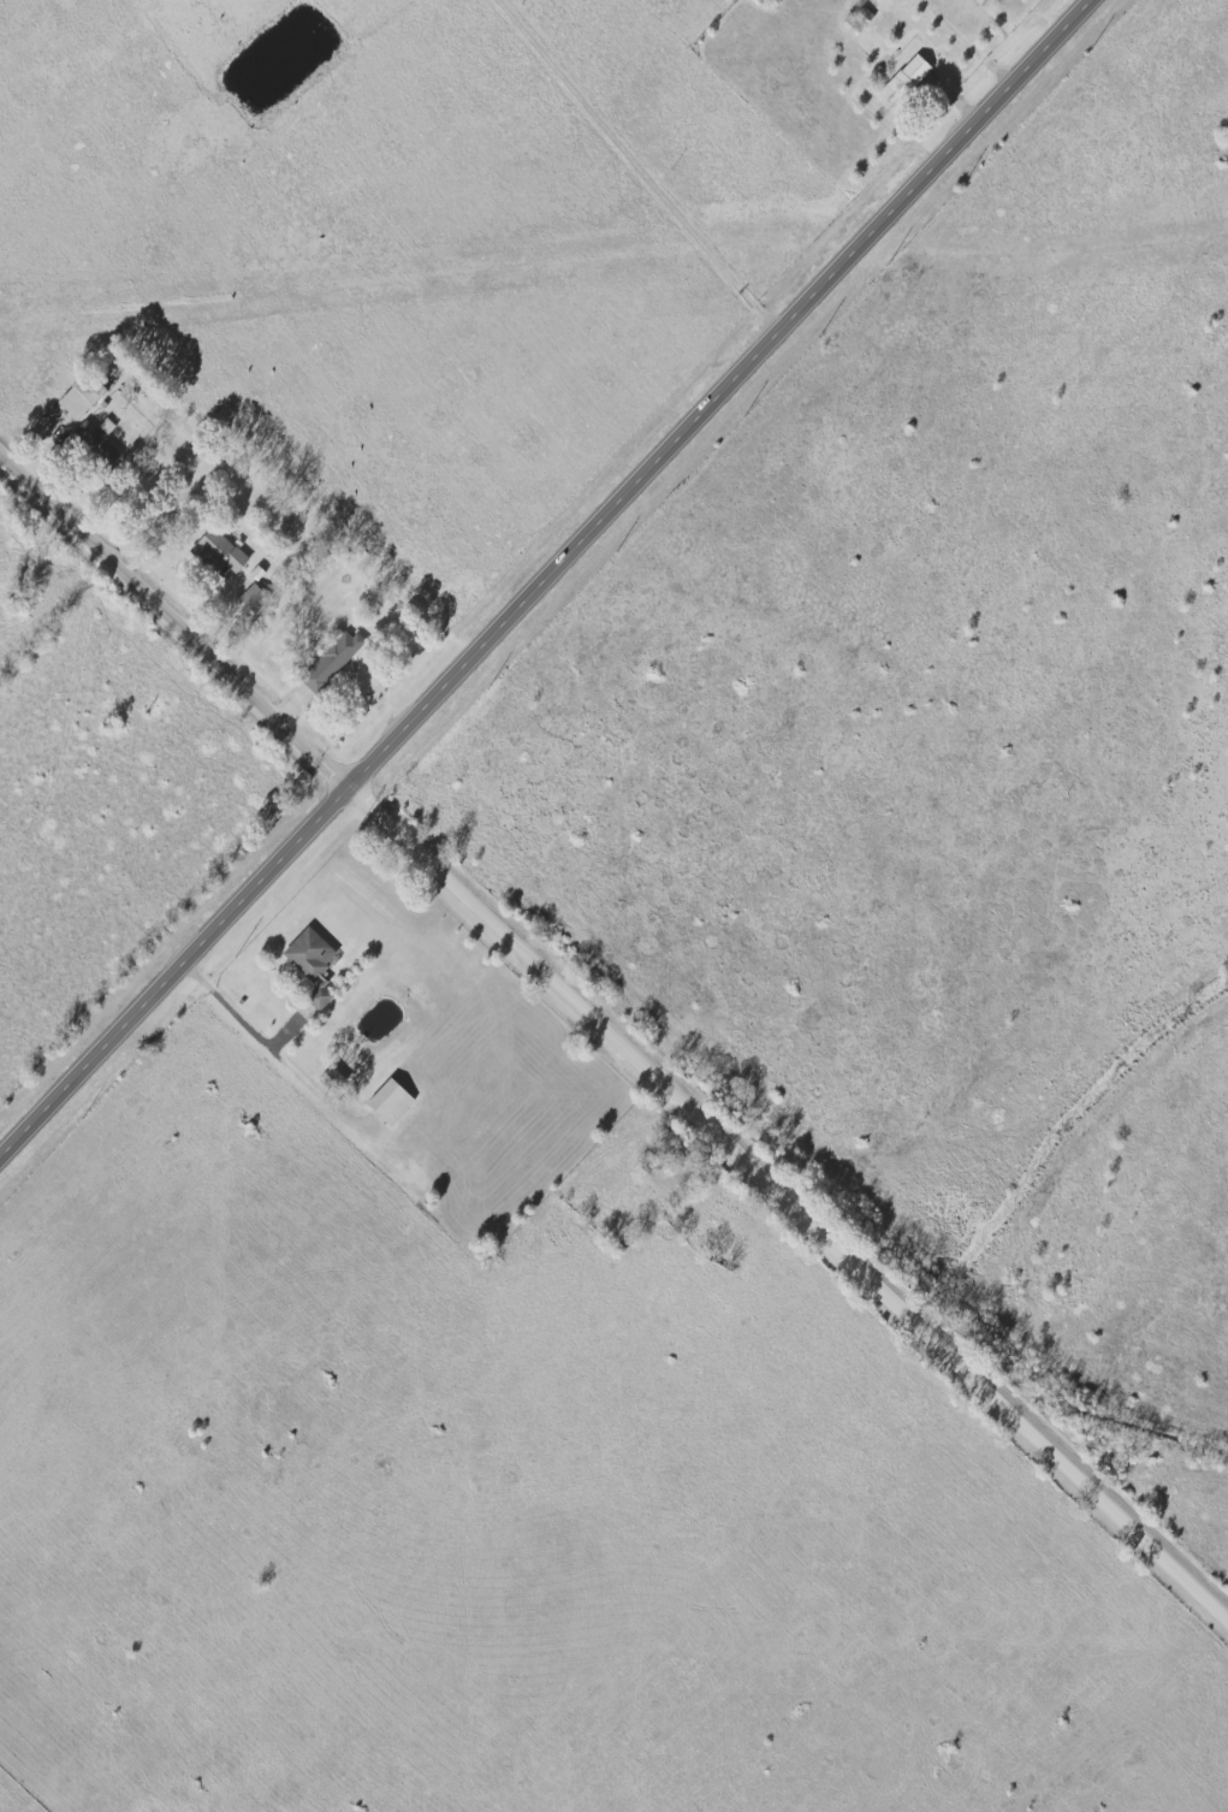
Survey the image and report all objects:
building: (907, 81)
road: (642, 167)
building: (81, 399)
building: (225, 551)
road: (547, 582)
building: (255, 598)
road: (177, 615)
building: (333, 662)
building: (315, 964)
road: (245, 1018)
building: (394, 1101)
road: (793, 1198)

